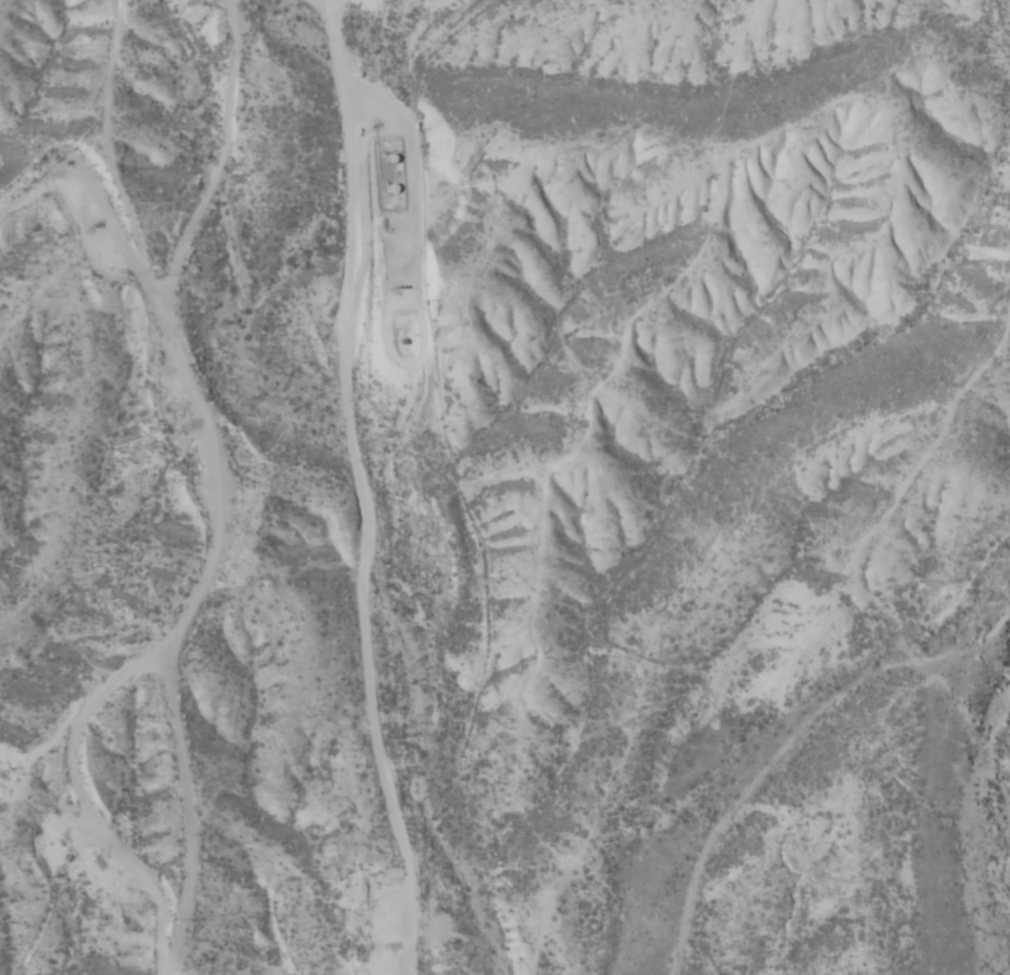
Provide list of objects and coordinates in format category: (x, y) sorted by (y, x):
road: (172, 467)
road: (375, 487)

